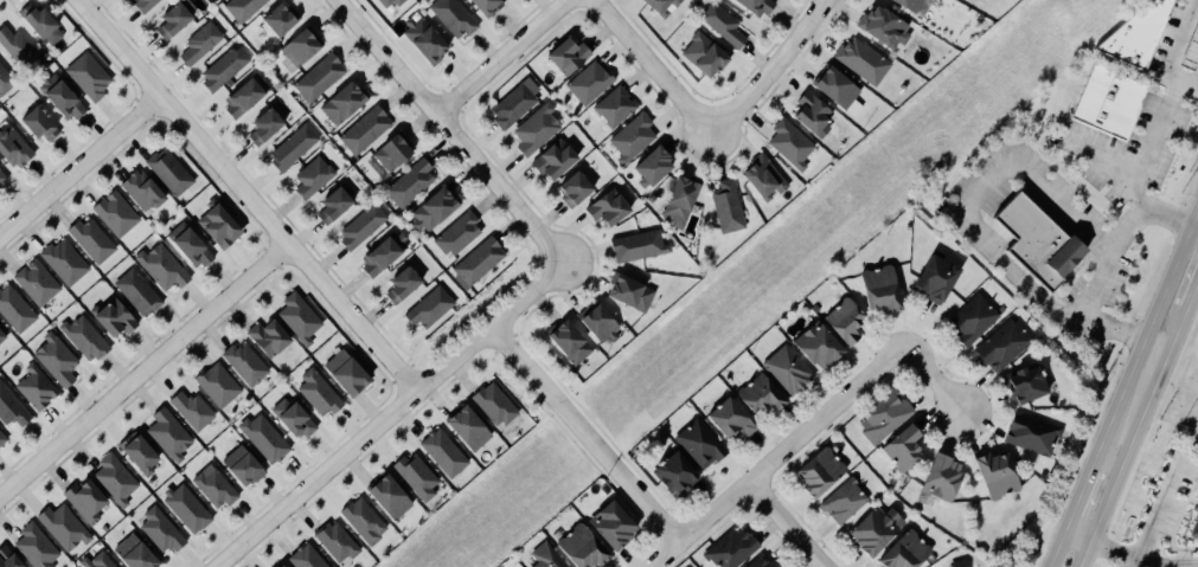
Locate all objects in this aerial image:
building: (390, 4)
building: (146, 5)
building: (662, 5)
building: (489, 6)
building: (916, 6)
building: (760, 7)
building: (244, 8)
building: (454, 18)
building: (174, 20)
building: (282, 20)
building: (43, 25)
building: (723, 25)
building: (885, 27)
building: (1140, 36)
building: (428, 41)
building: (200, 44)
building: (302, 47)
building: (18, 49)
road: (1175, 51)
building: (1191, 52)
gas station: (1191, 52)
building: (706, 56)
road: (505, 57)
building: (570, 57)
building: (865, 62)
road: (648, 63)
road: (773, 65)
building: (225, 69)
building: (90, 77)
building: (320, 78)
building: (6, 82)
building: (590, 84)
building: (838, 88)
building: (63, 98)
building: (245, 98)
building: (345, 104)
building: (515, 104)
building: (1111, 104)
building: (616, 108)
building: (813, 114)
road: (450, 123)
building: (269, 124)
building: (40, 125)
building: (537, 130)
building: (366, 131)
building: (633, 138)
building: (792, 144)
building: (14, 148)
building: (294, 148)
building: (393, 154)
building: (557, 160)
road: (77, 166)
building: (656, 167)
road: (1145, 167)
building: (171, 172)
building: (2, 176)
building: (765, 178)
building: (313, 179)
building: (412, 185)
road: (975, 186)
building: (578, 188)
building: (142, 192)
road: (244, 194)
building: (681, 202)
building: (337, 206)
building: (729, 207)
building: (610, 208)
building: (435, 211)
building: (116, 214)
road: (1193, 218)
building: (220, 227)
building: (364, 227)
road: (1193, 231)
building: (460, 236)
building: (92, 241)
building: (1040, 241)
building: (191, 246)
building: (640, 246)
building: (385, 254)
building: (65, 262)
building: (479, 263)
building: (162, 268)
building: (936, 279)
building: (37, 283)
building: (405, 285)
building: (884, 290)
building: (632, 292)
road: (1094, 292)
road: (1193, 292)
building: (139, 294)
building: (430, 309)
building: (15, 310)
building: (815, 310)
building: (116, 318)
building: (301, 318)
building: (973, 320)
building: (847, 321)
building: (600, 322)
building: (2, 336)
building: (85, 339)
building: (270, 339)
building: (570, 342)
building: (821, 346)
building: (1004, 347)
road: (1140, 347)
building: (57, 361)
building: (246, 365)
building: (790, 369)
road: (145, 372)
building: (348, 374)
building: (219, 386)
building: (1030, 386)
building: (37, 388)
building: (319, 395)
building: (764, 395)
building: (494, 405)
building: (11, 410)
building: (192, 411)
road: (390, 414)
building: (885, 418)
building: (295, 419)
building: (733, 420)
building: (470, 429)
road: (806, 430)
building: (1033, 434)
road: (1133, 434)
building: (169, 436)
road: (584, 436)
building: (2, 437)
building: (265, 439)
building: (701, 445)
building: (906, 450)
building: (140, 453)
building: (443, 453)
building: (244, 468)
building: (822, 473)
building: (677, 476)
building: (999, 476)
building: (417, 477)
building: (946, 478)
building: (116, 479)
building: (214, 488)
building: (390, 497)
road: (1077, 497)
building: (88, 502)
building: (845, 502)
building: (187, 510)
building: (364, 522)
road: (789, 524)
building: (615, 526)
building: (64, 528)
building: (161, 531)
building: (878, 531)
building: (1196, 531)
road: (1076, 535)
building: (338, 542)
building: (37, 547)
building: (585, 547)
building: (731, 548)
road: (1055, 548)
building: (908, 552)
building: (135, 553)
road: (1143, 553)
building: (547, 556)
building: (306, 558)
building: (8, 559)
building: (100, 560)
building: (763, 562)
building: (960, 563)
building: (280, 566)

